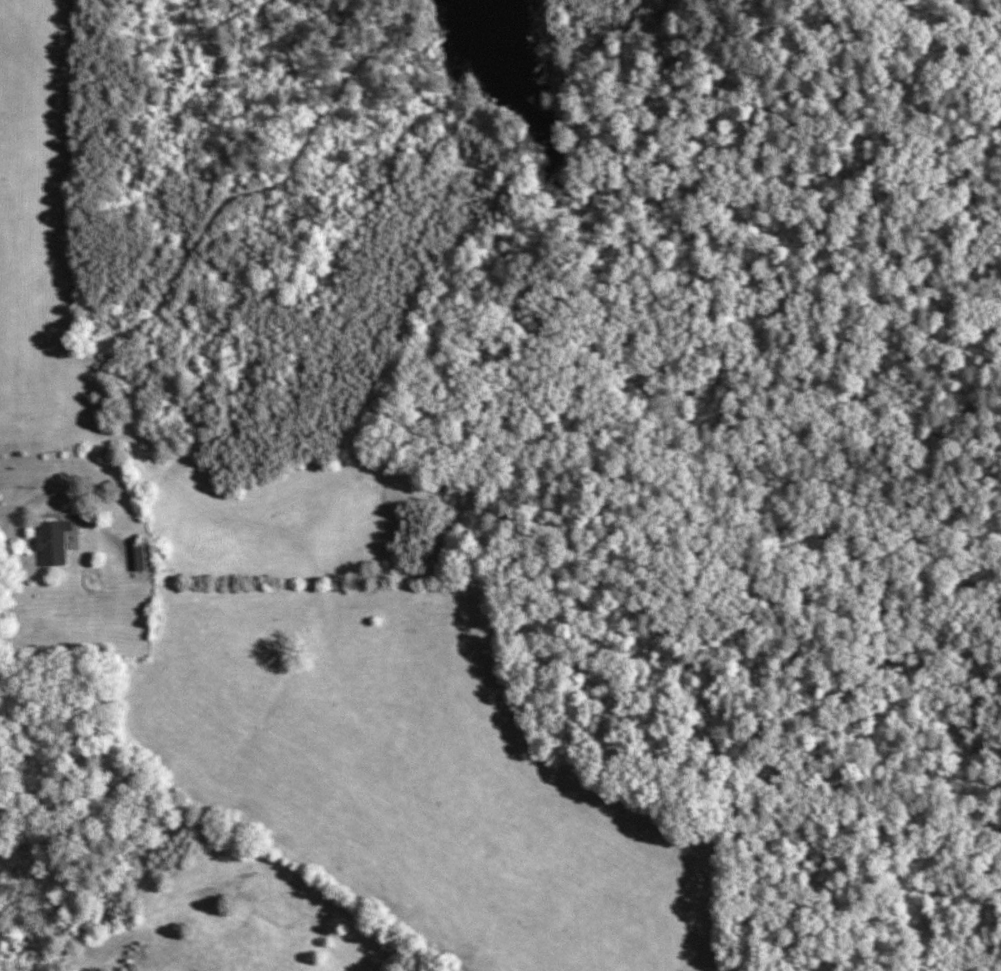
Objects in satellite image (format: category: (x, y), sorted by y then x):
building: (50, 541)
road: (7, 550)
building: (141, 557)

